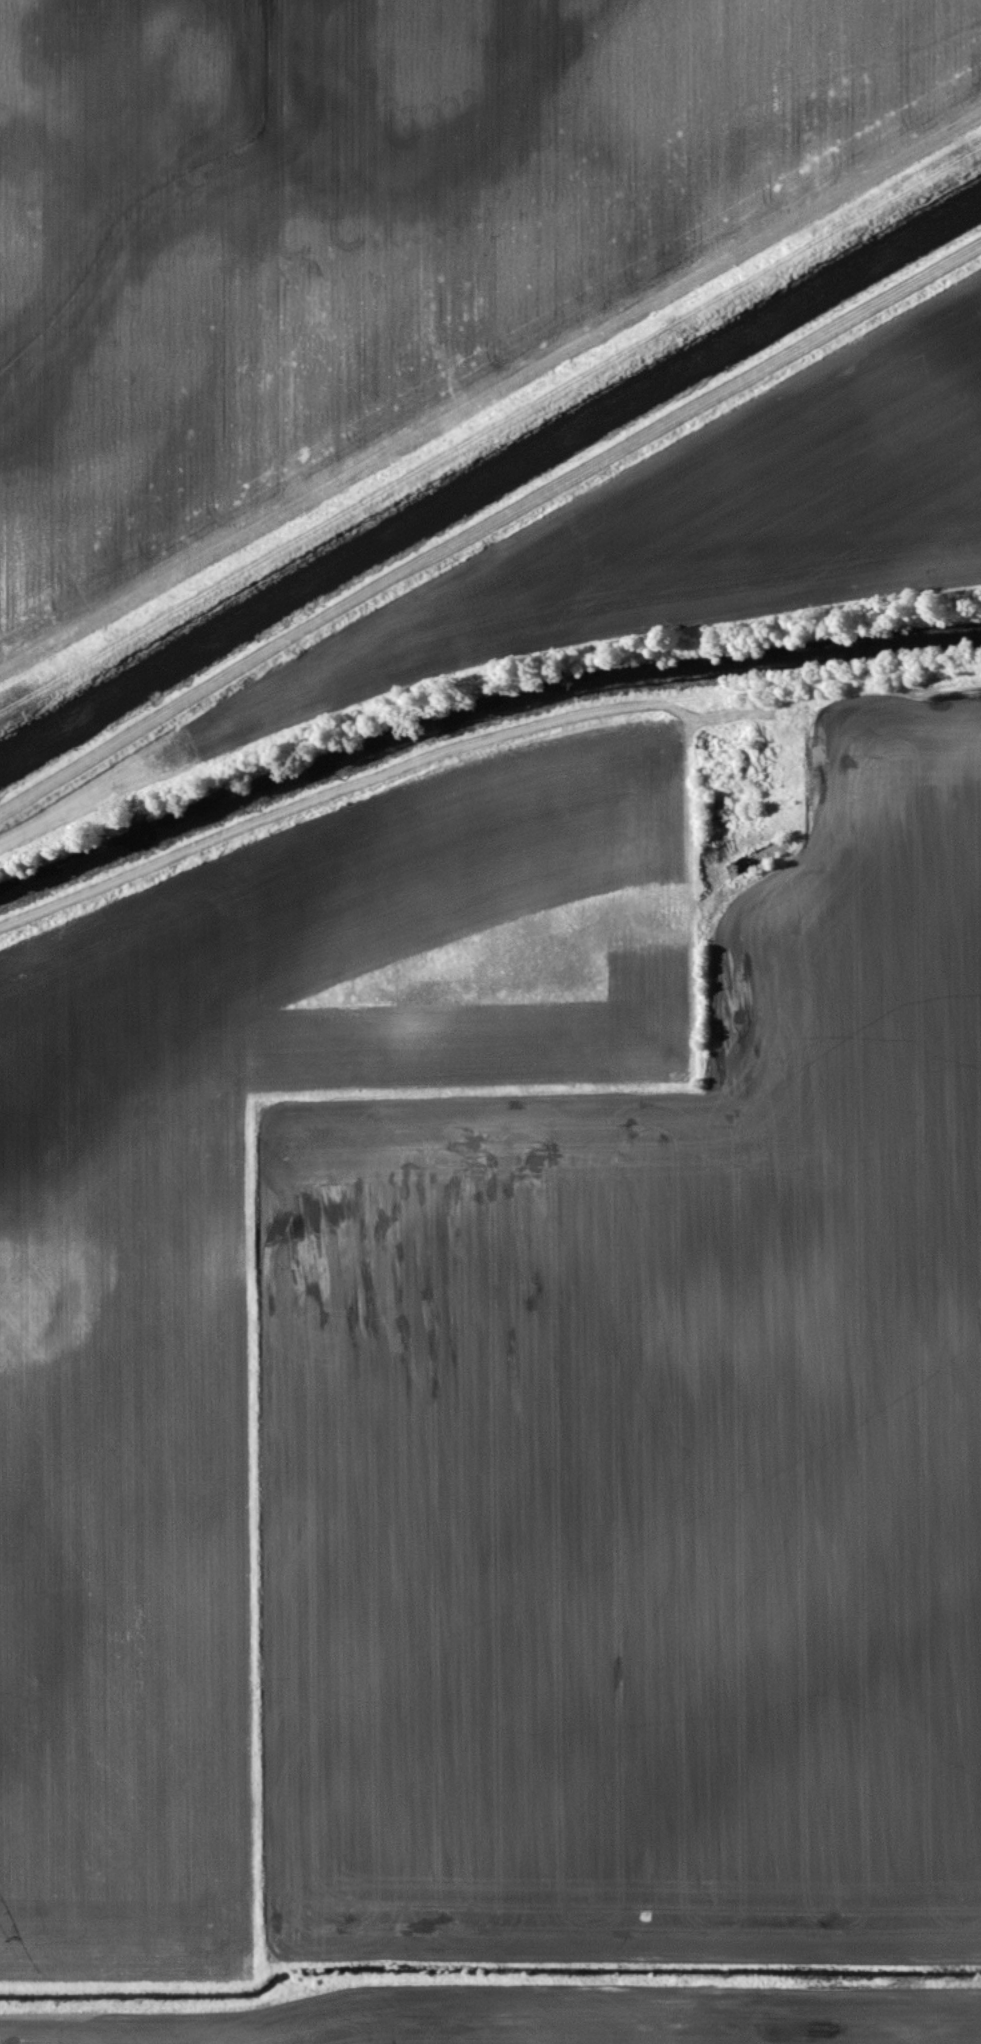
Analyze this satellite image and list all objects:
road: (876, 687)

